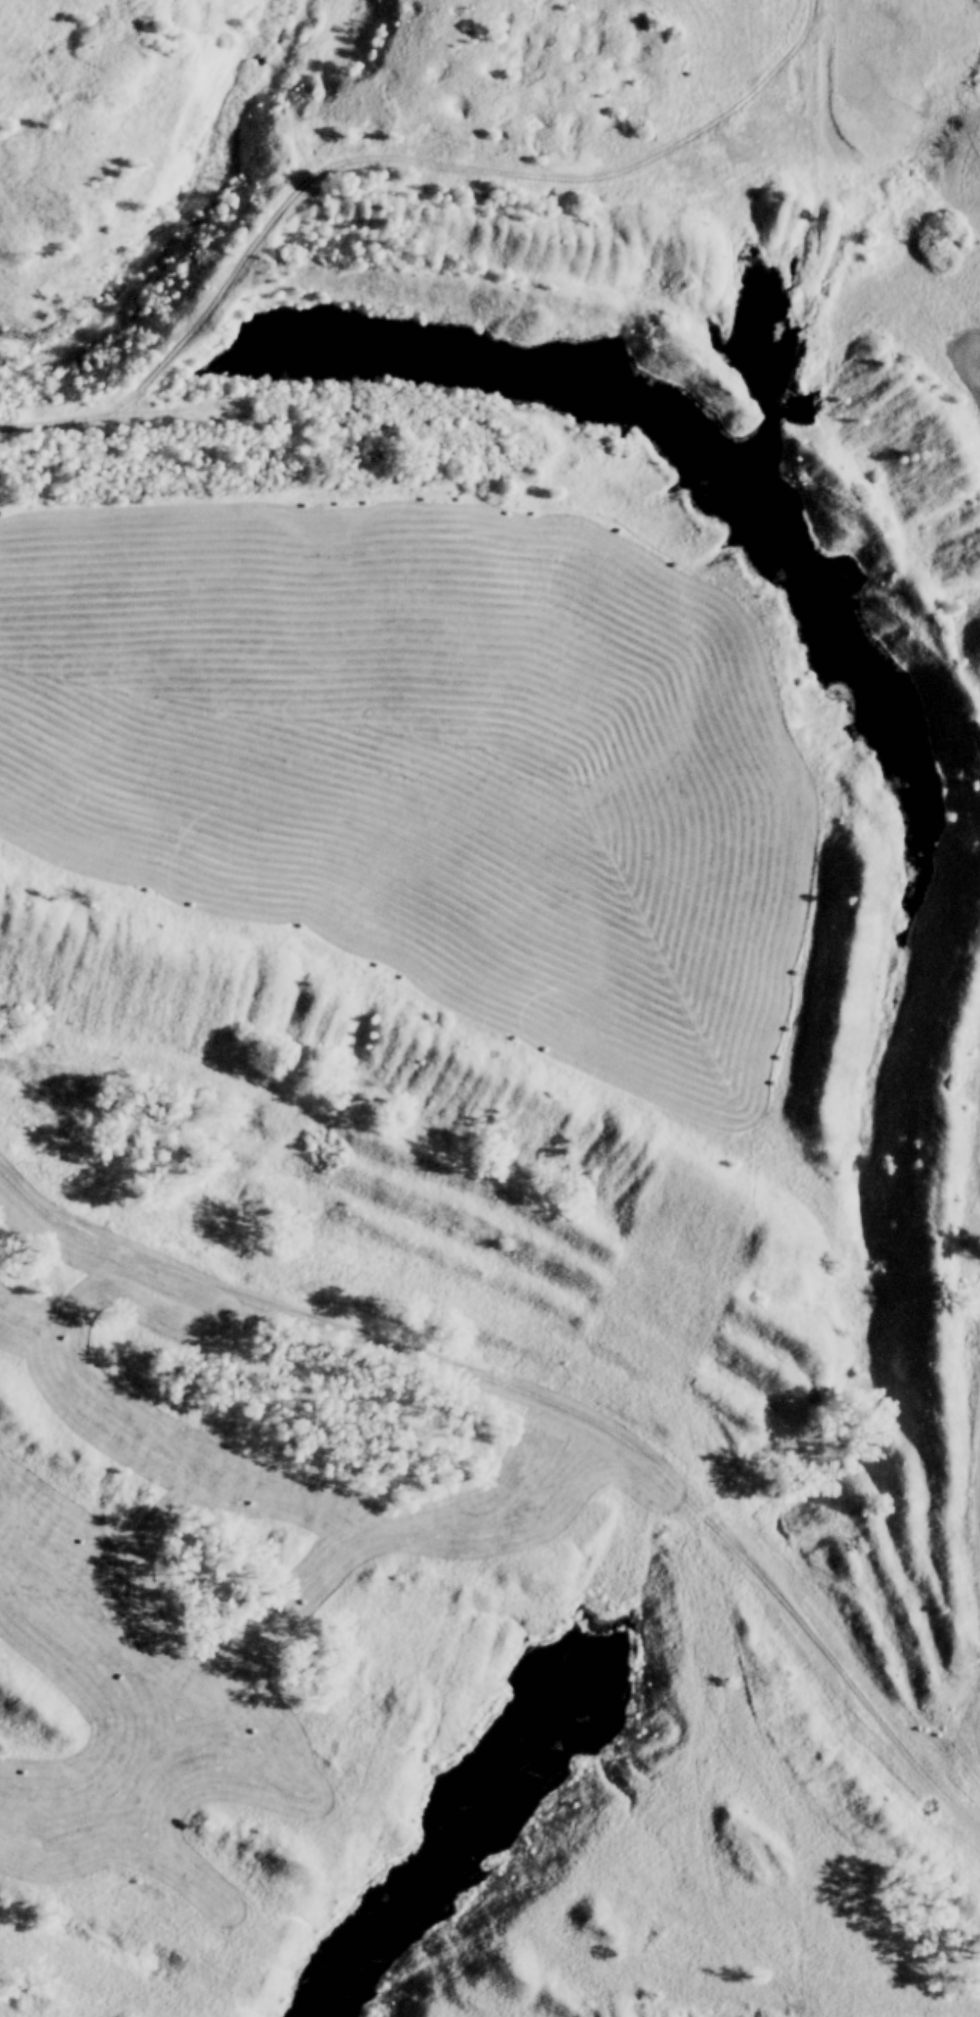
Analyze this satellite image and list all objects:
road: (805, 16)
road: (370, 156)
road: (551, 1406)
quarry: (397, 1527)

